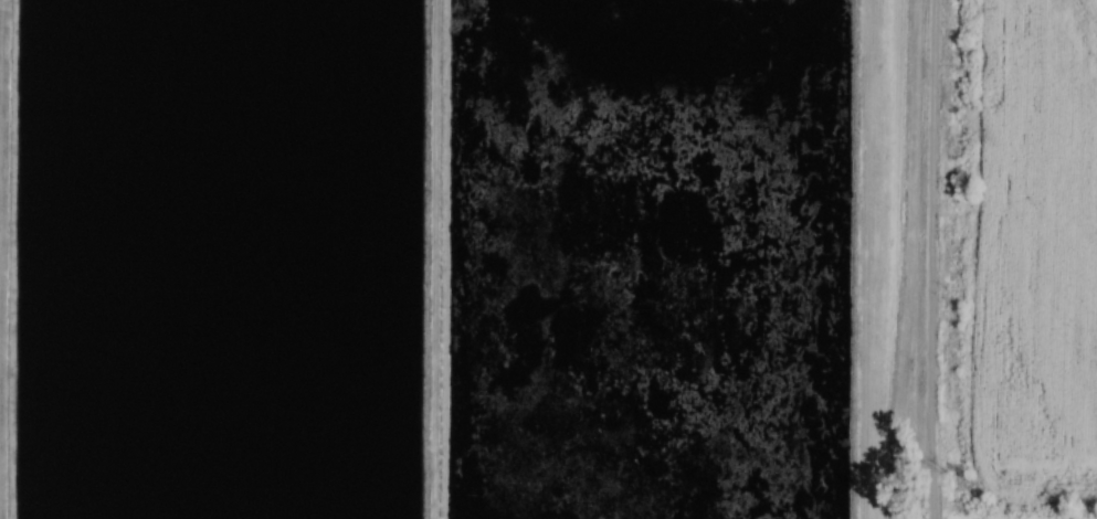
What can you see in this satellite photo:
road: (933, 258)

